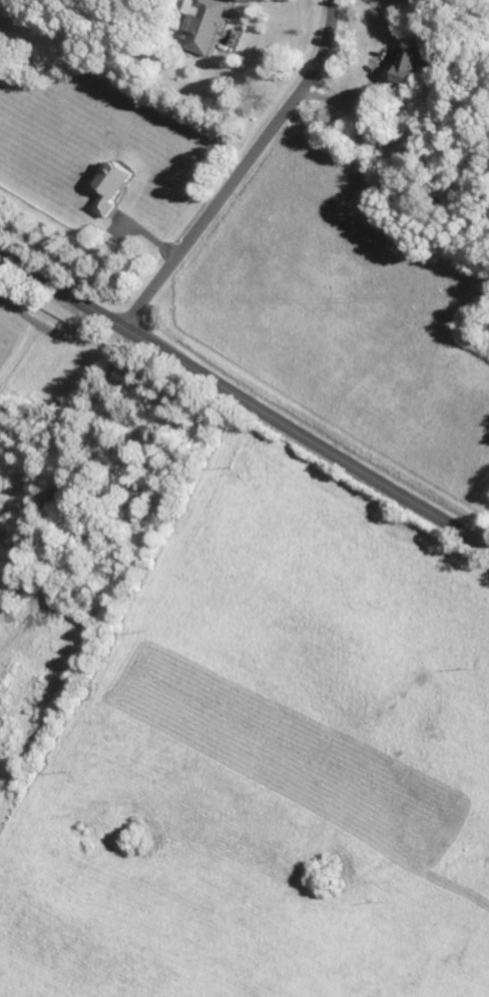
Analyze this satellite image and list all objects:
building: (201, 24)
building: (413, 66)
road: (377, 73)
road: (242, 171)
building: (109, 187)
road: (37, 332)
road: (244, 401)

